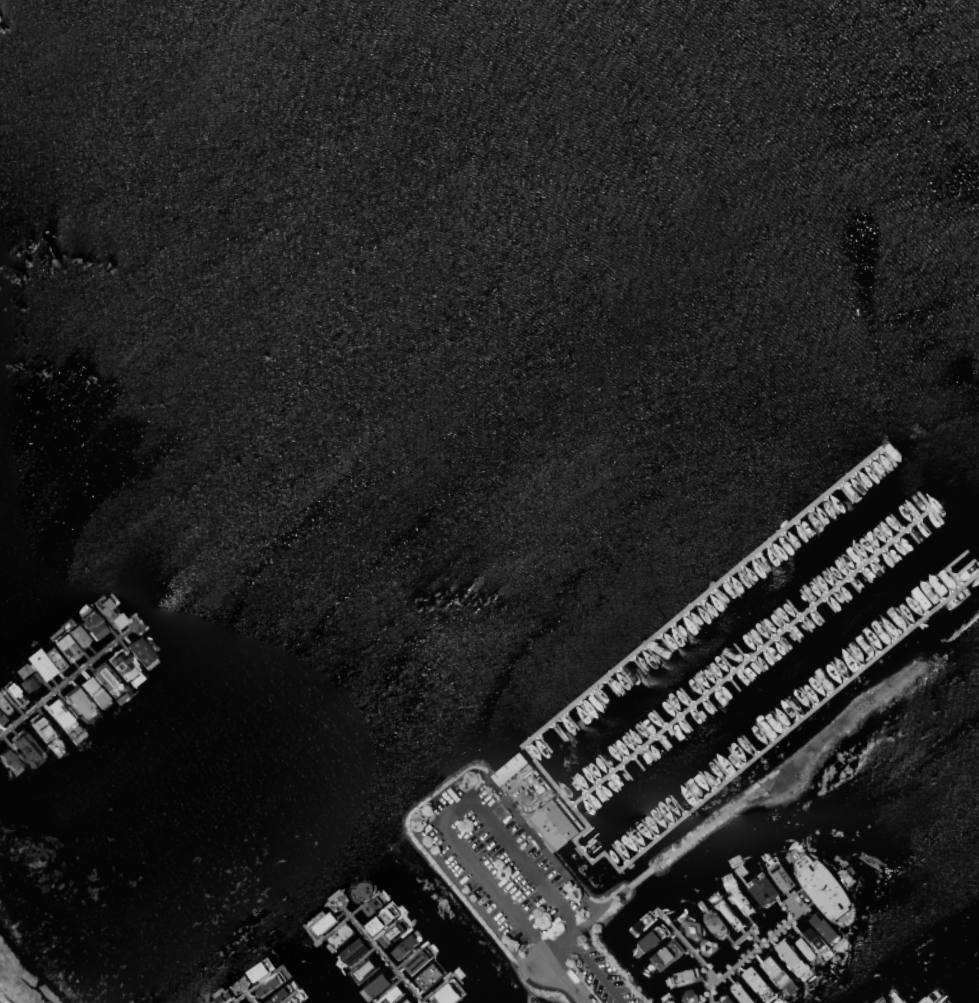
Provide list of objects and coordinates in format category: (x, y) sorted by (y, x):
pier: (703, 597)
building: (110, 612)
building: (93, 627)
building: (79, 636)
building: (67, 648)
building: (140, 651)
pier: (752, 657)
building: (123, 666)
building: (46, 668)
pier: (77, 671)
building: (29, 678)
building: (107, 679)
building: (93, 691)
building: (15, 695)
building: (80, 702)
building: (4, 706)
building: (61, 715)
building: (1, 717)
building: (43, 731)
building: (27, 747)
pier: (769, 749)
building: (9, 760)
building: (510, 768)
road: (455, 812)
building: (555, 824)
parking lot: (497, 866)
building: (780, 875)
building: (762, 888)
building: (823, 888)
building: (361, 889)
building: (739, 898)
building: (371, 905)
building: (728, 913)
building: (380, 920)
building: (324, 922)
building: (641, 922)
building: (714, 923)
building: (823, 927)
building: (692, 928)
pier: (748, 929)
building: (393, 932)
building: (339, 933)
building: (650, 939)
building: (816, 940)
pier: (371, 942)
building: (404, 945)
pier: (686, 945)
building: (706, 946)
pier: (756, 947)
building: (804, 948)
road: (559, 949)
building: (353, 950)
building: (666, 954)
building: (790, 957)
building: (417, 961)
building: (365, 968)
building: (260, 969)
road: (594, 970)
building: (774, 971)
building: (429, 975)
building: (684, 976)
parking lot: (600, 977)
road: (566, 981)
building: (758, 984)
building: (268, 985)
building: (375, 986)
pier: (242, 988)
building: (448, 993)
building: (277, 994)
building: (391, 995)
building: (742, 995)
building: (897, 996)
building: (930, 996)
building: (221, 997)
building: (691, 997)
building: (292, 998)
building: (726, 999)
building: (668, 1000)
building: (405, 1001)
building: (882, 1001)
building: (943, 1001)
building: (237, 1002)
building: (887, 1002)

